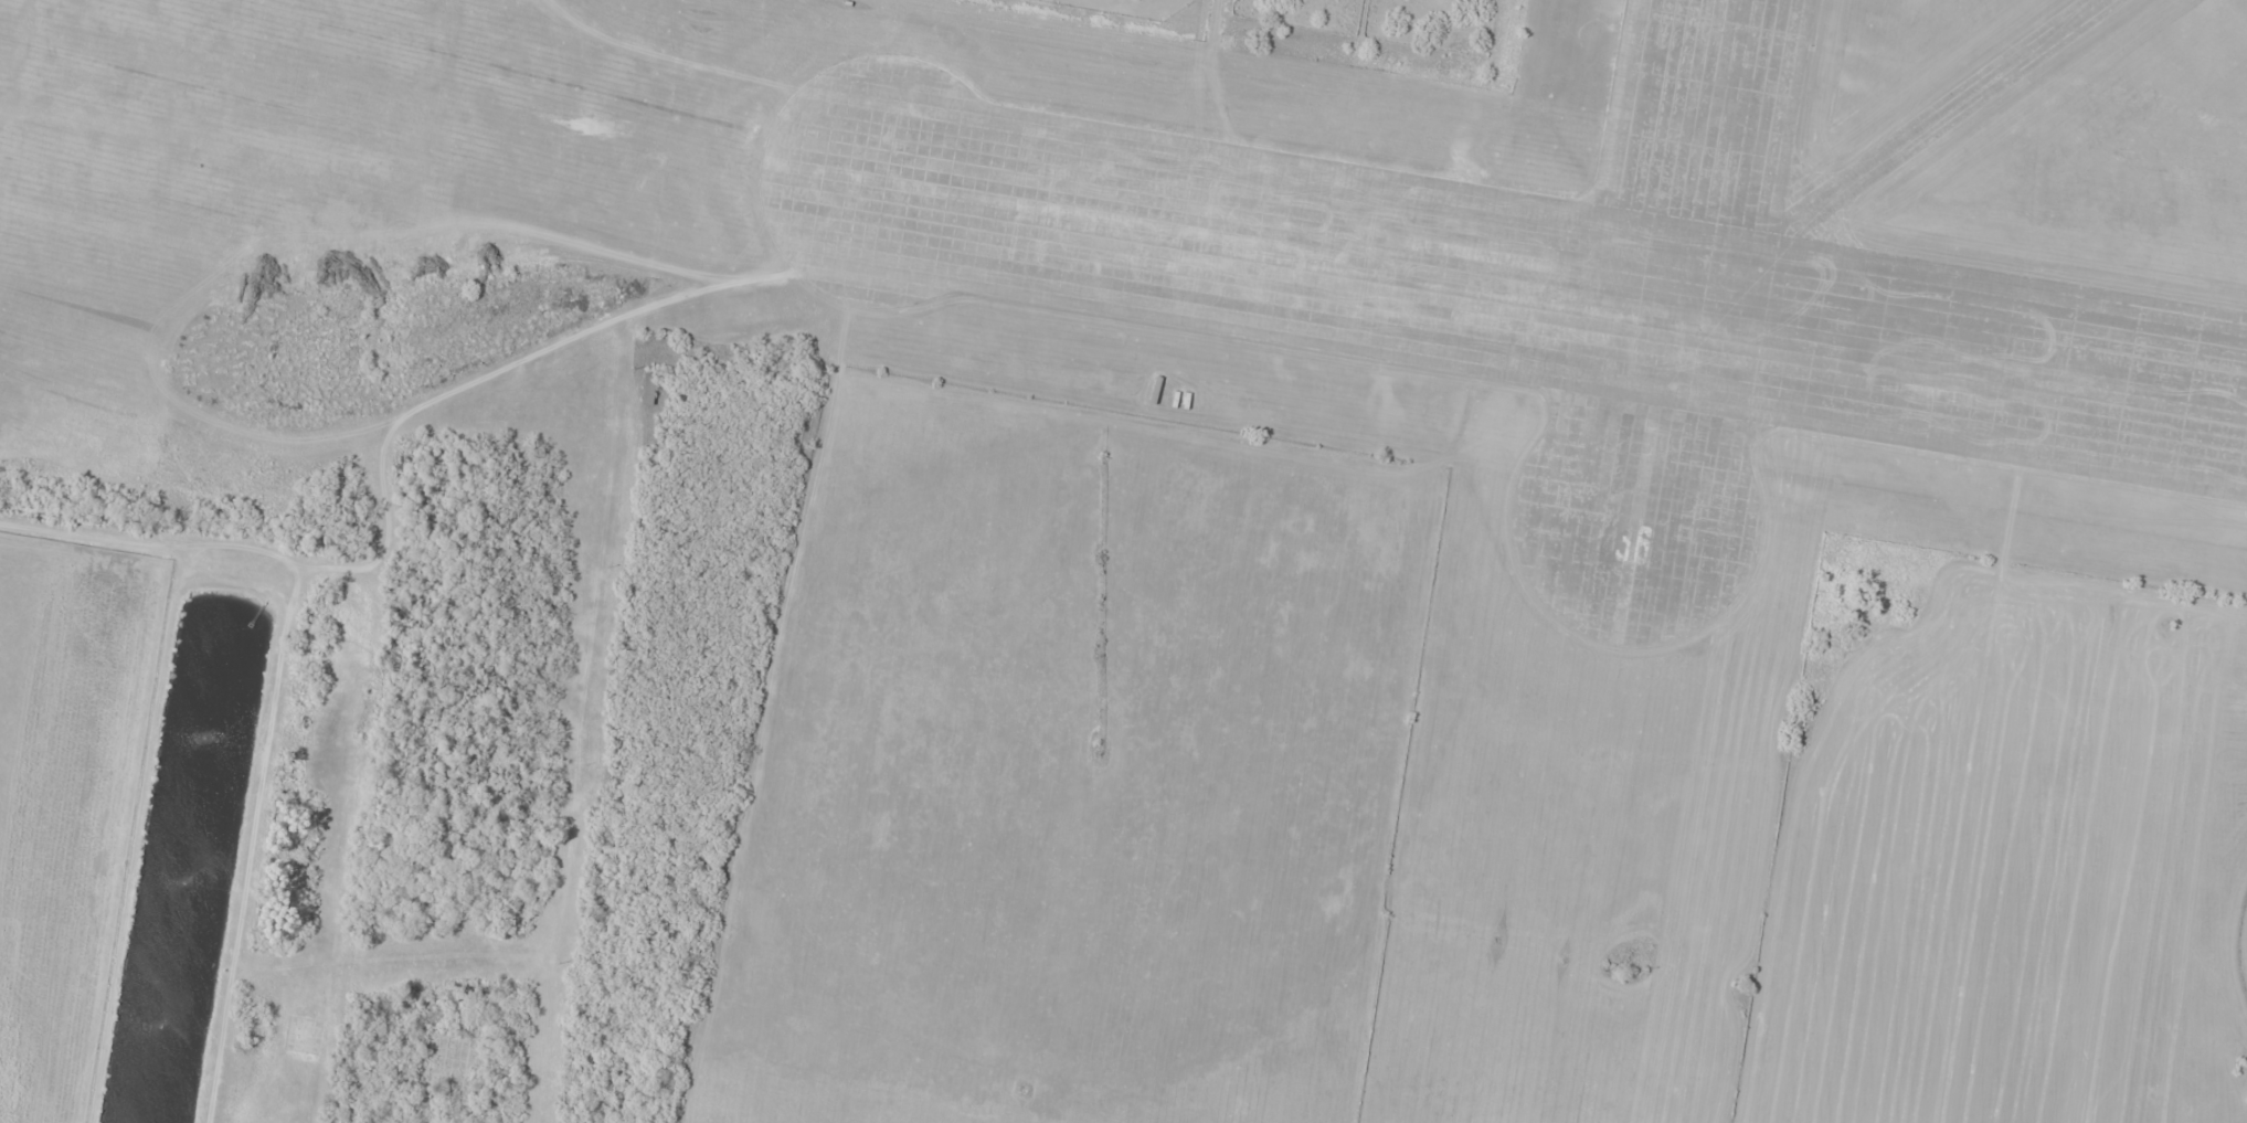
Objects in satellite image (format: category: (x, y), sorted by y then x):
airport taxiway: (1893, 159)
airport runway: (1681, 269)
airport runway: (1564, 300)
airport: (1549, 379)
road: (339, 693)
wastewater plant: (191, 858)

